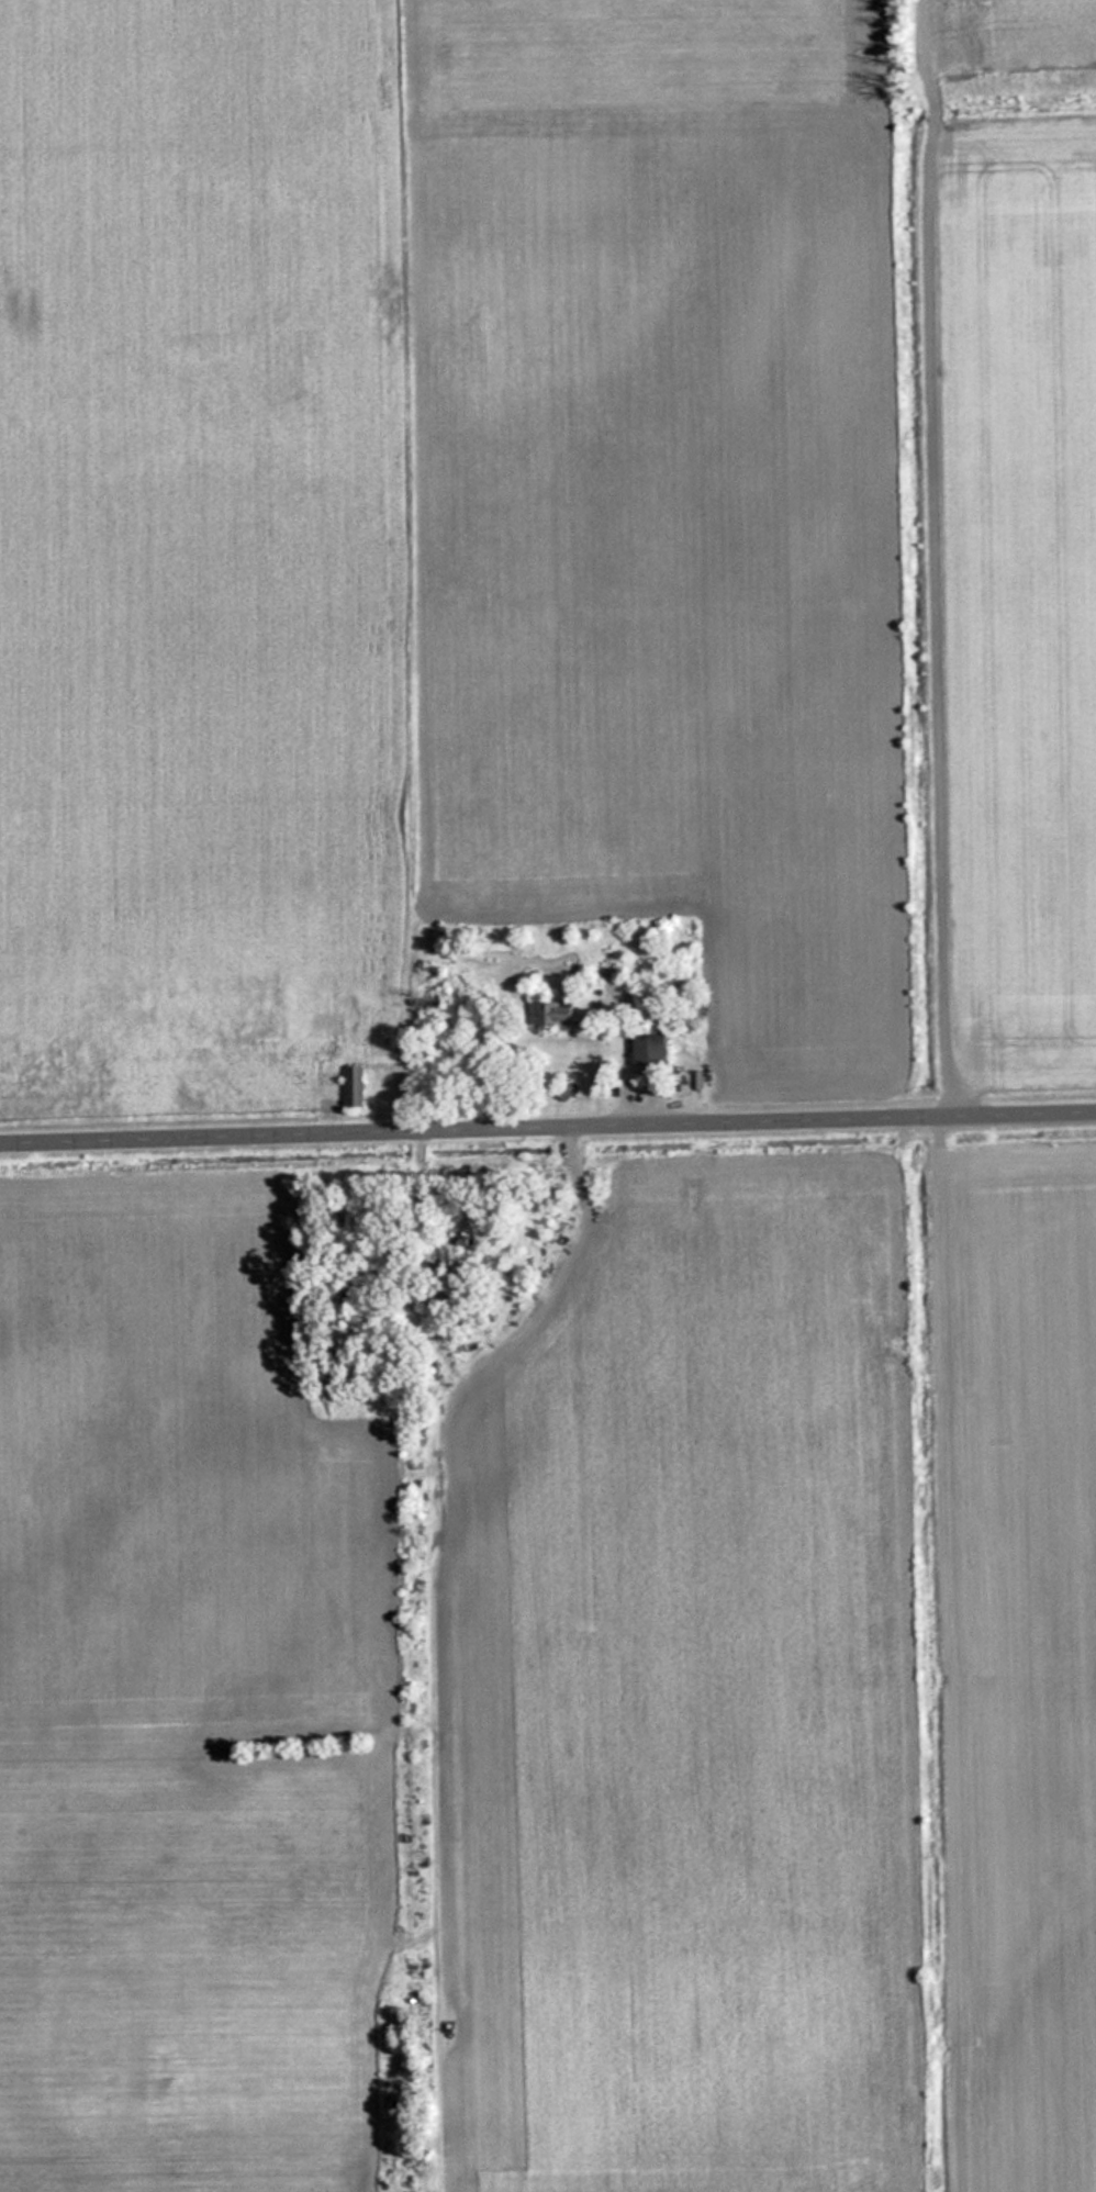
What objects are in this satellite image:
road: (938, 557)
building: (327, 1013)
building: (562, 1014)
building: (653, 1049)
building: (356, 1084)
building: (569, 1088)
road: (548, 1126)
building: (350, 1209)

